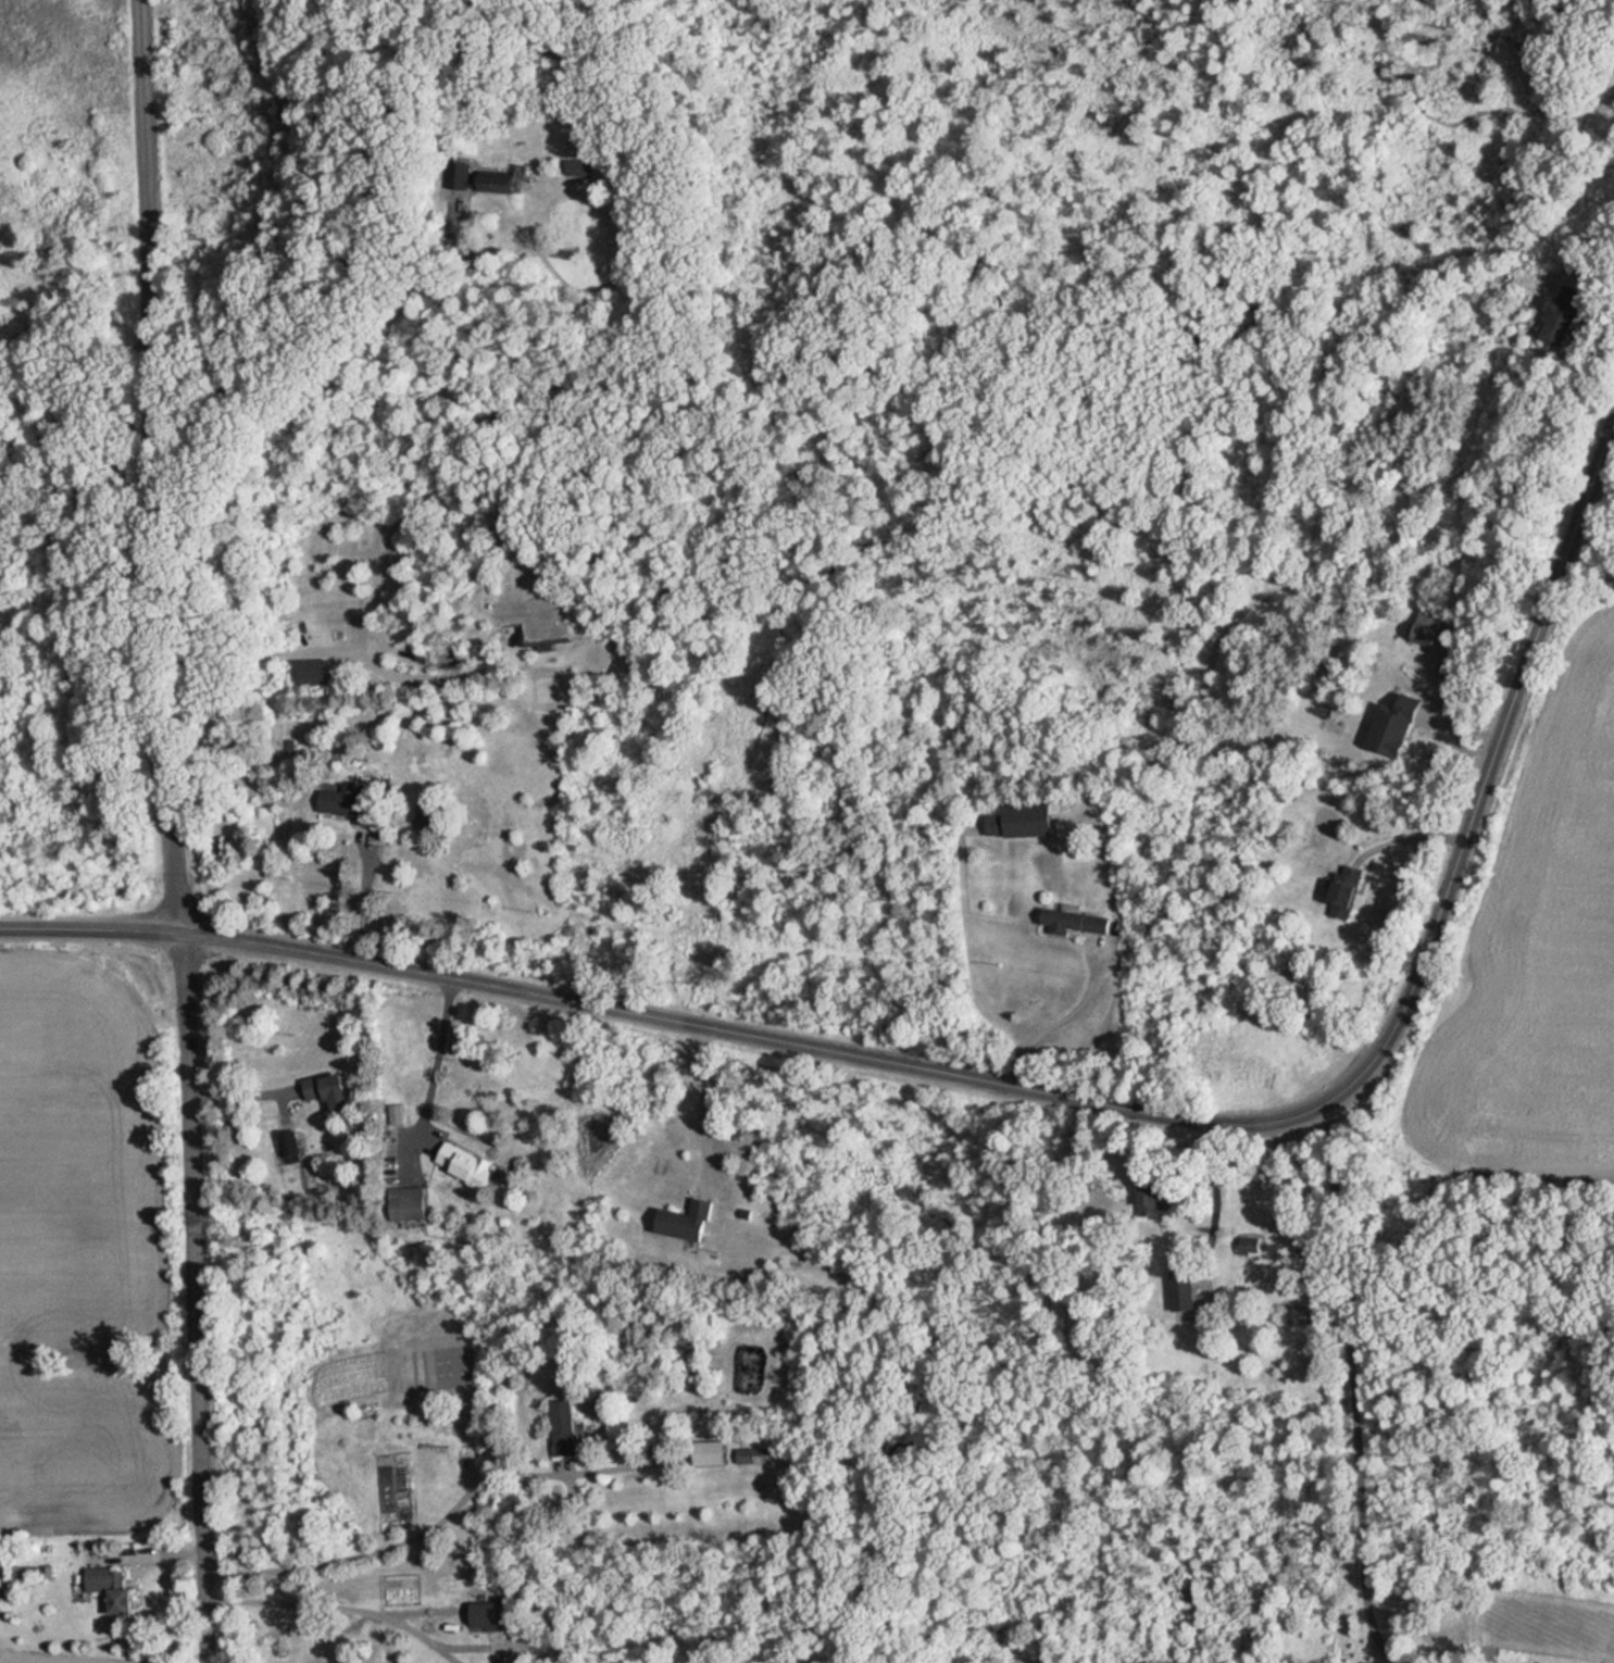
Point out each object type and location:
building: (575, 166)
building: (481, 179)
building: (1566, 316)
road: (334, 327)
park: (72, 511)
building: (1430, 625)
road: (321, 648)
building: (311, 672)
building: (1398, 725)
building: (348, 804)
building: (425, 814)
building: (1022, 821)
road: (175, 830)
building: (1349, 891)
road: (363, 900)
building: (1077, 922)
road: (1053, 1027)
road: (435, 1064)
building: (325, 1086)
road: (242, 1090)
road: (1031, 1091)
road: (704, 1106)
building: (396, 1112)
building: (289, 1146)
building: (465, 1162)
road: (1219, 1197)
building: (1158, 1200)
building: (409, 1202)
building: (689, 1220)
building: (1251, 1245)
building: (1185, 1290)
road: (1353, 1392)
building: (564, 1427)
building: (710, 1452)
building: (752, 1454)
road: (395, 1548)
building: (112, 1585)
road: (338, 1609)
building: (488, 1616)

